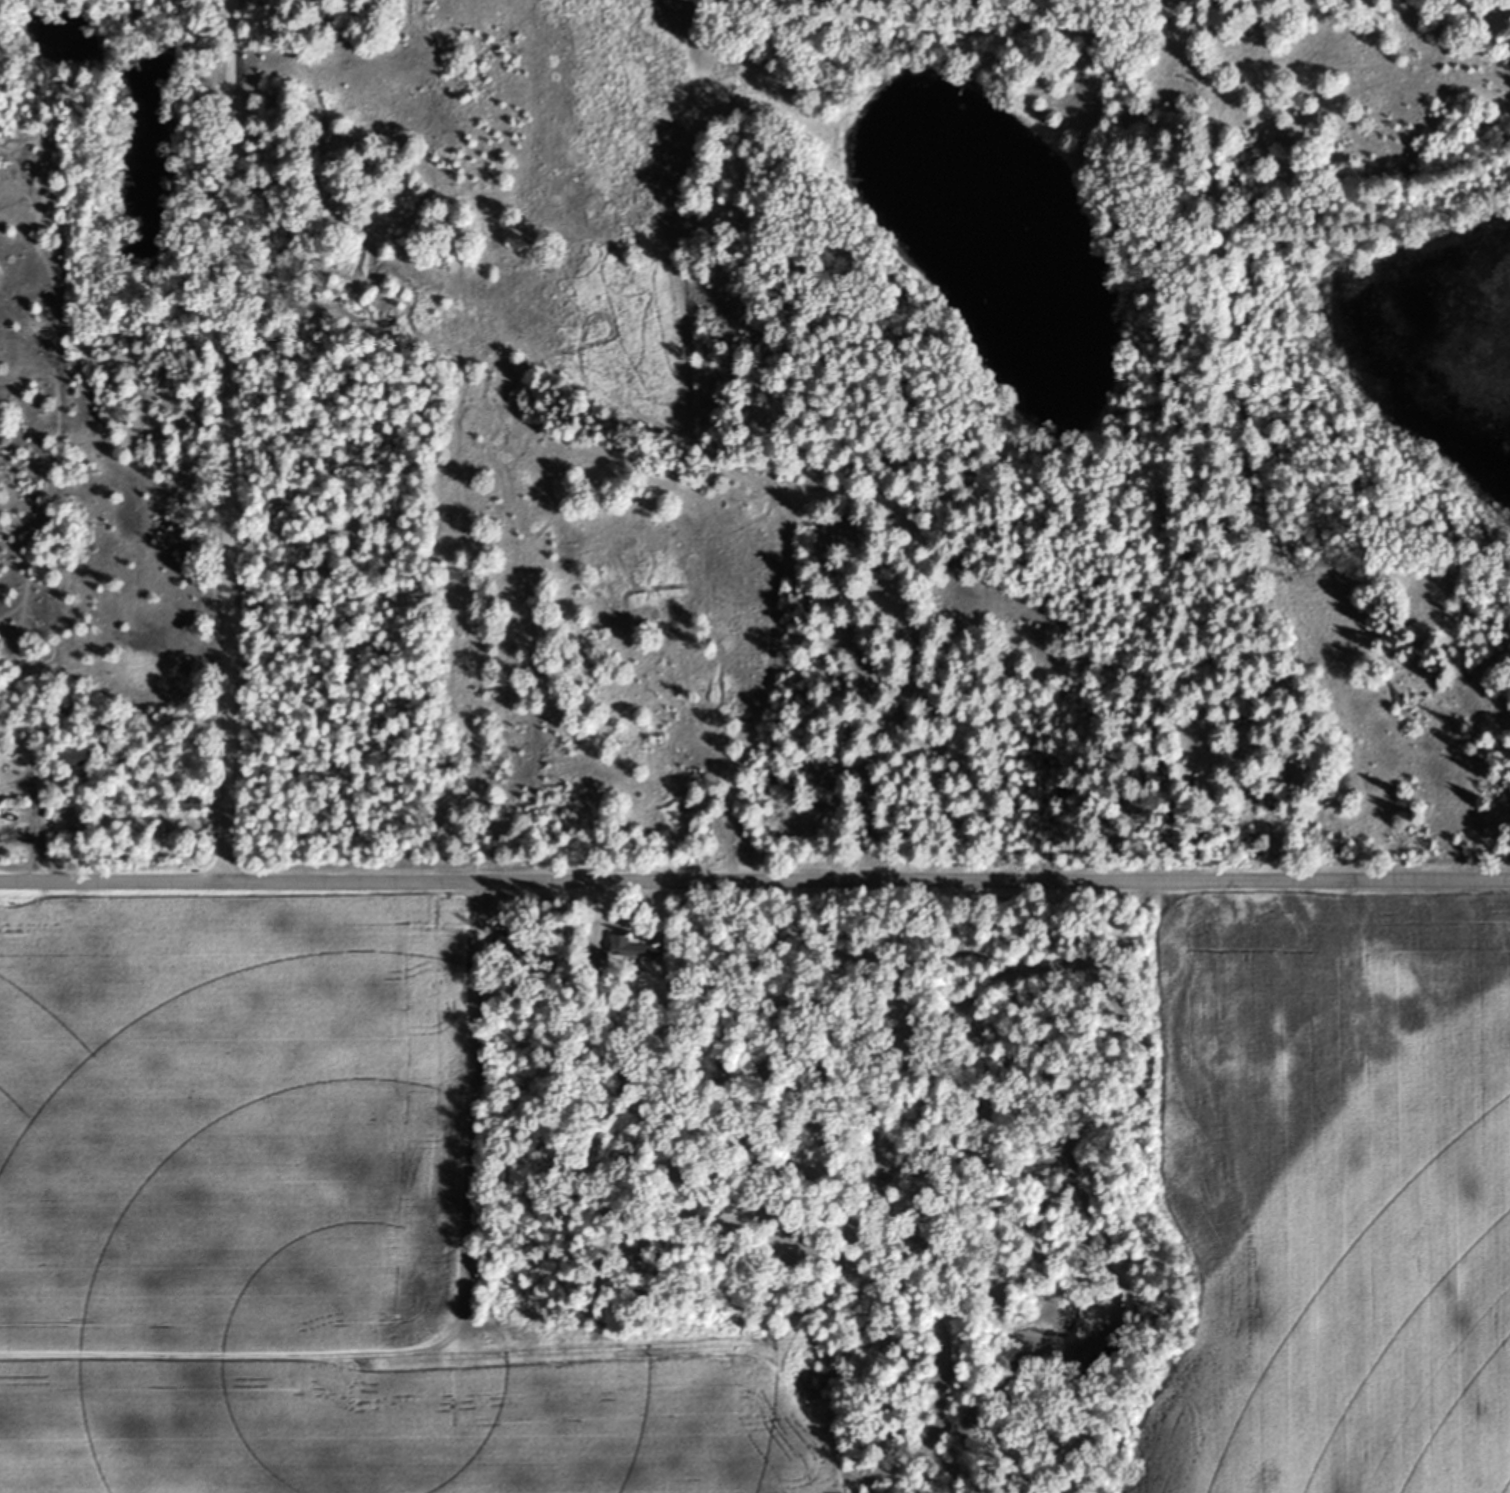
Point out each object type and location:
road: (223, 441)
building: (70, 754)
building: (192, 801)
road: (40, 846)
road: (754, 878)
building: (515, 946)
building: (629, 947)
building: (594, 959)

